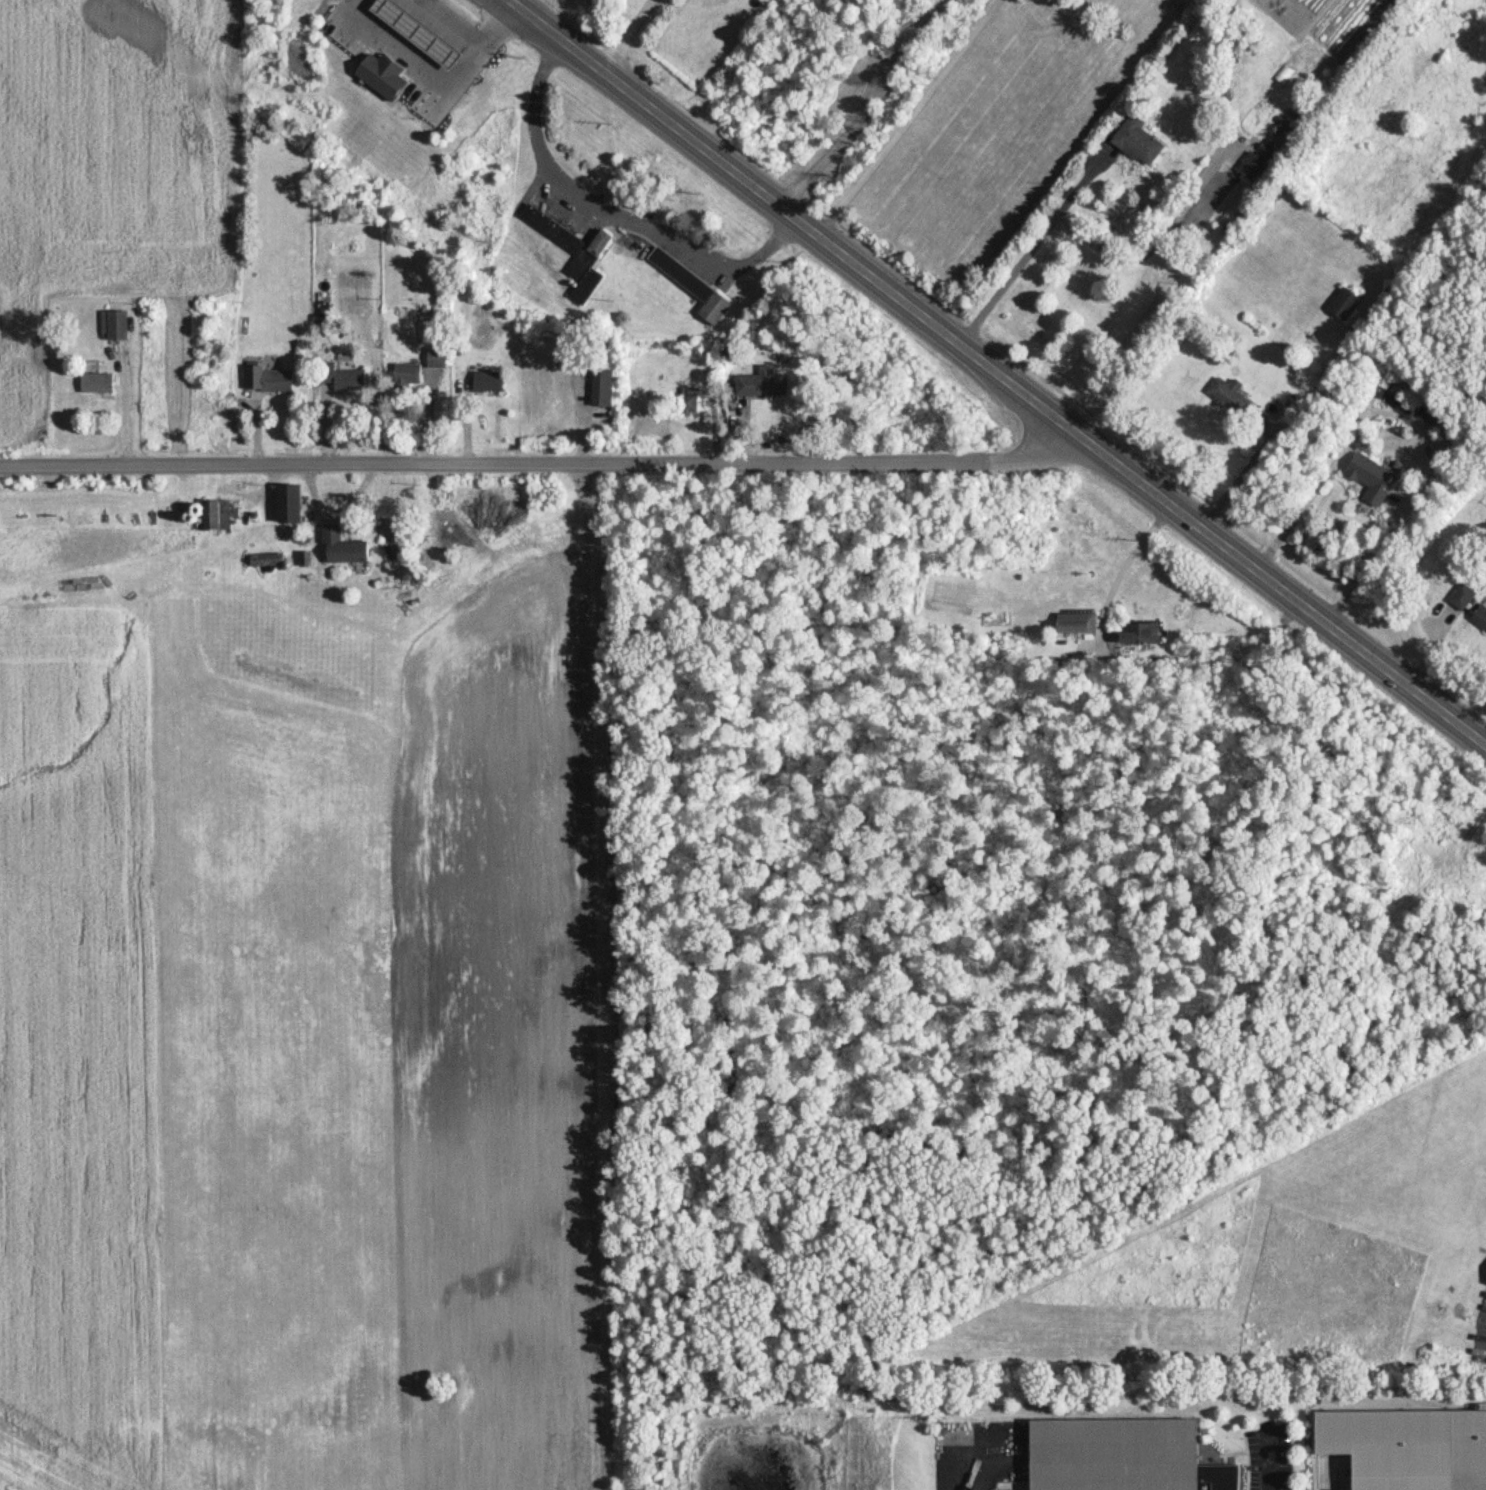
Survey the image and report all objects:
road: (456, 19)
building: (417, 31)
road: (630, 37)
road: (435, 72)
building: (383, 73)
road: (864, 109)
road: (915, 122)
building: (1138, 140)
building: (1251, 165)
road: (612, 211)
building: (573, 250)
road: (1024, 253)
building: (693, 285)
building: (1344, 303)
building: (115, 324)
building: (437, 357)
road: (996, 373)
building: (407, 374)
building: (341, 376)
building: (269, 378)
building: (489, 380)
building: (97, 382)
building: (762, 382)
building: (602, 386)
building: (1231, 396)
building: (690, 399)
road: (125, 409)
road: (1418, 424)
road: (1252, 458)
road: (540, 462)
building: (1371, 477)
building: (289, 502)
building: (217, 514)
building: (343, 546)
building: (267, 559)
road: (1129, 559)
building: (1462, 597)
building: (1480, 617)
building: (1076, 622)
building: (1141, 634)
building: (1407, 1447)
building: (1122, 1455)
road: (1271, 1458)
road: (983, 1462)

